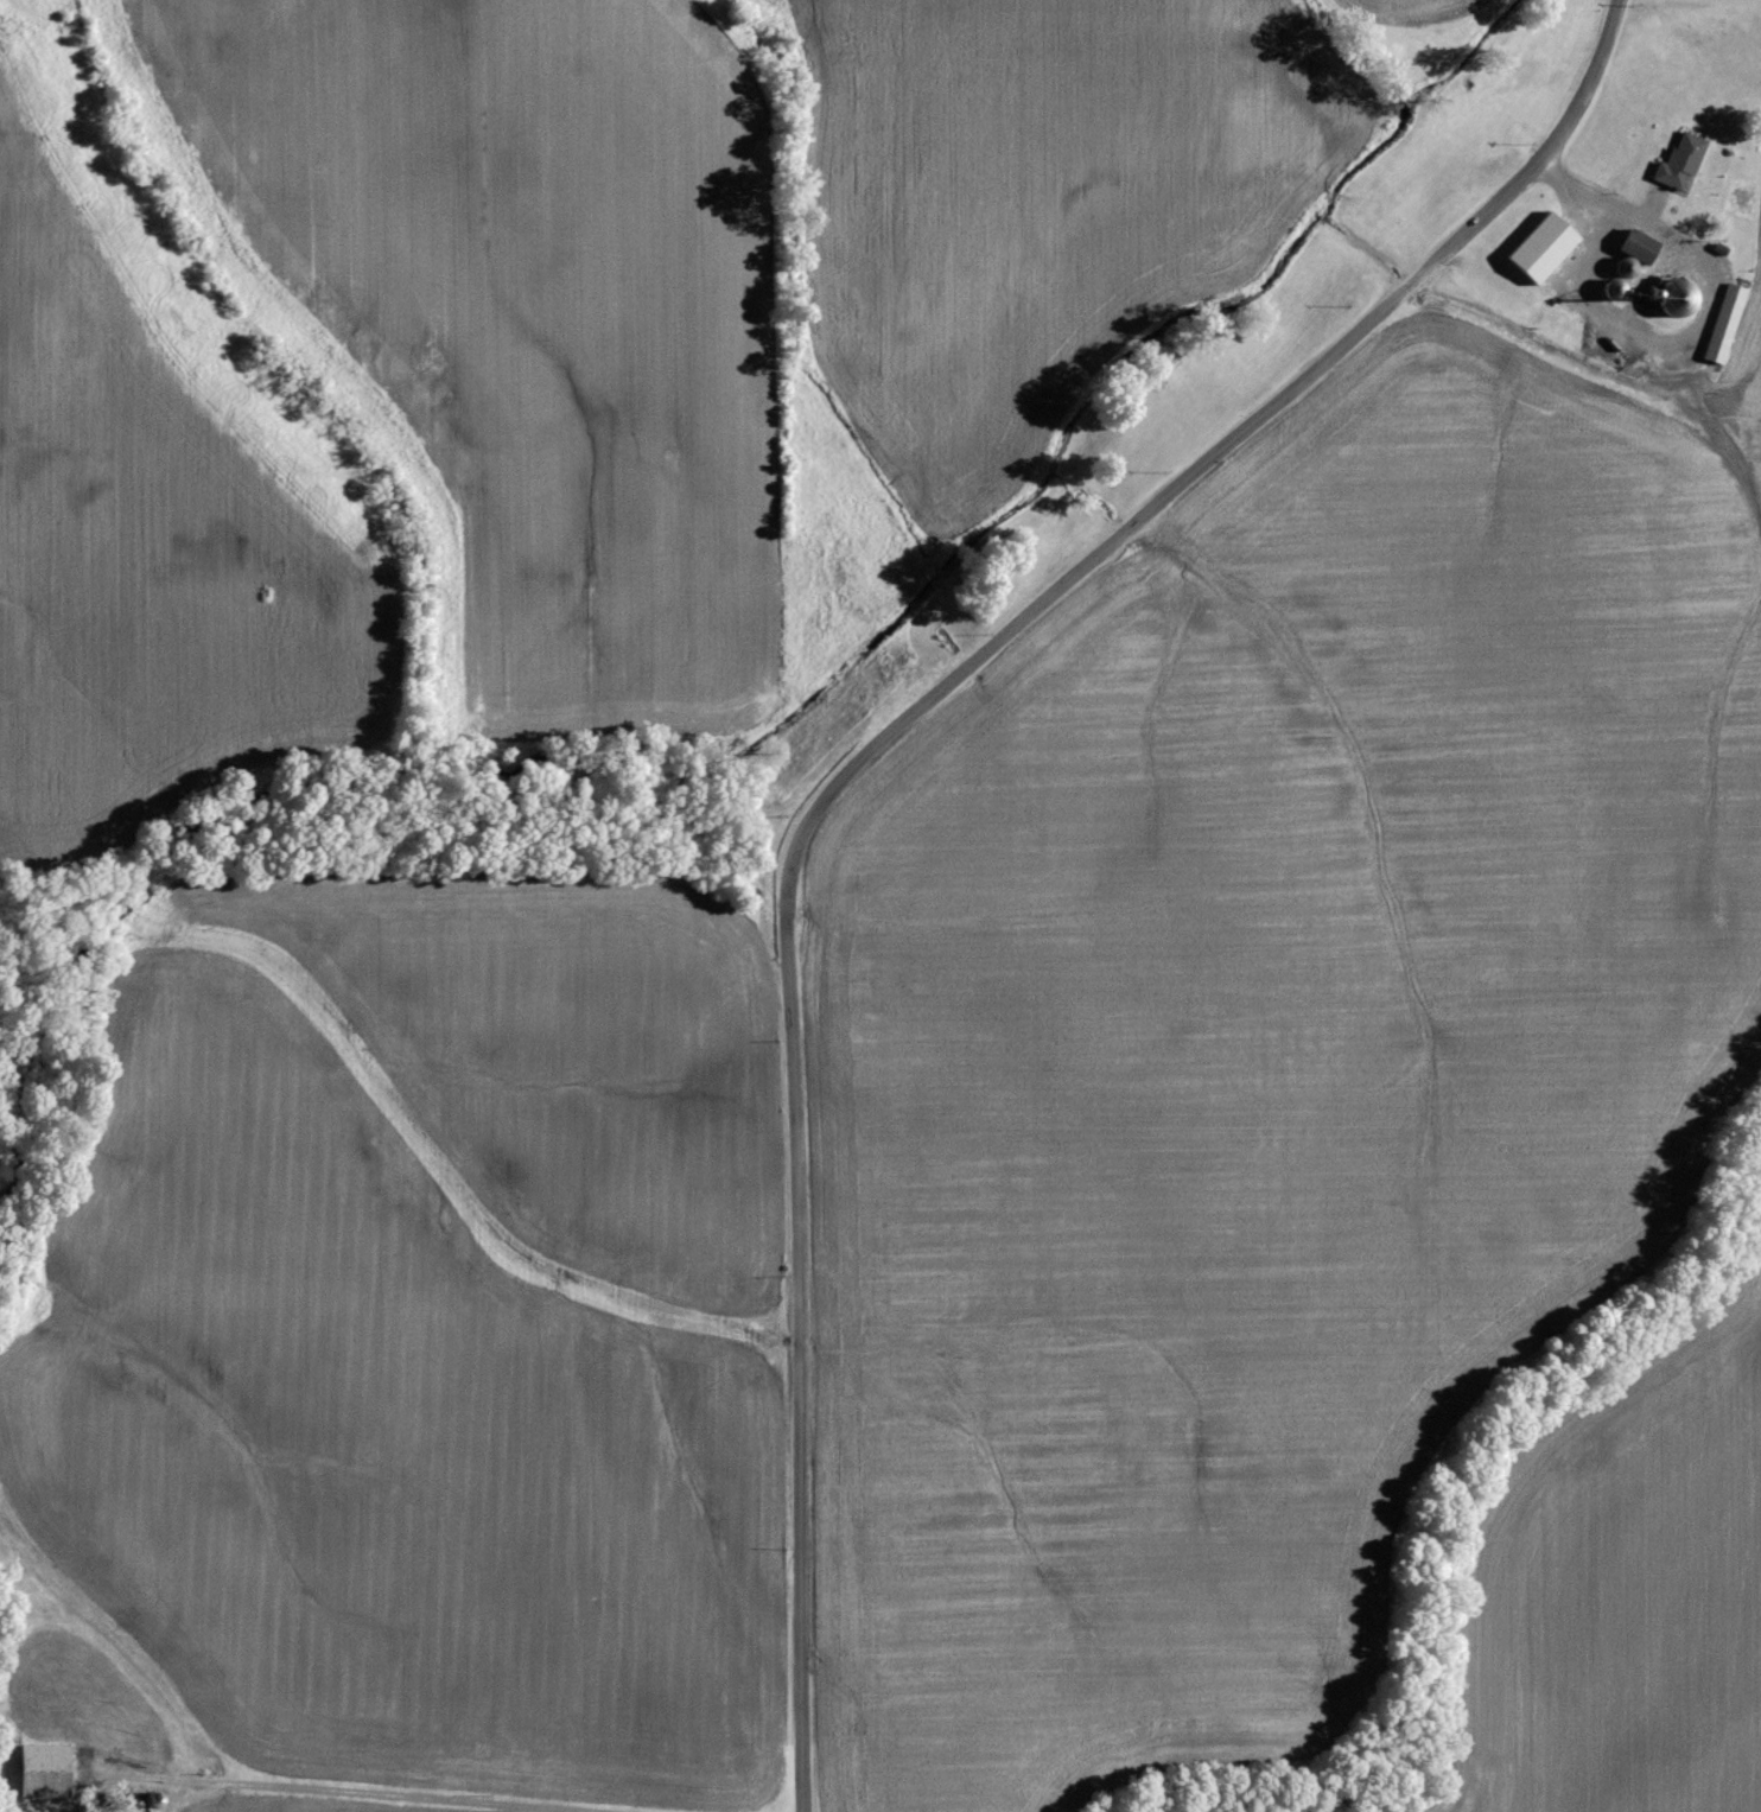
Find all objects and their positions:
building: (1677, 163)
building: (1537, 249)
building: (1722, 325)
road: (862, 756)
building: (39, 1770)
road: (350, 1794)

